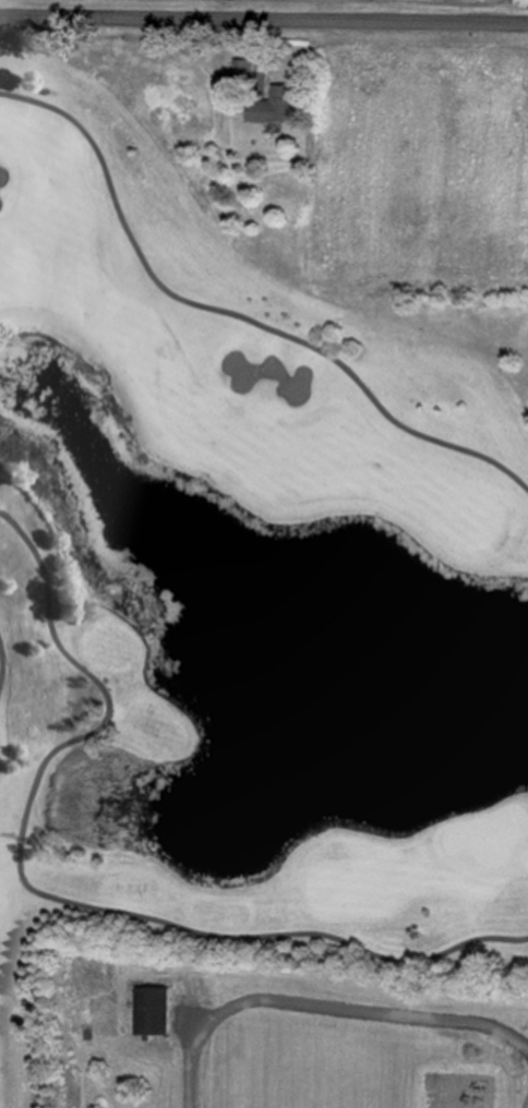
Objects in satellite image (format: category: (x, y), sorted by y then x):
road: (264, 23)
building: (245, 70)
building: (275, 106)
road: (231, 316)
park: (241, 571)
road: (12, 836)
park: (488, 841)
road: (55, 899)
building: (154, 1011)
road: (191, 1067)

